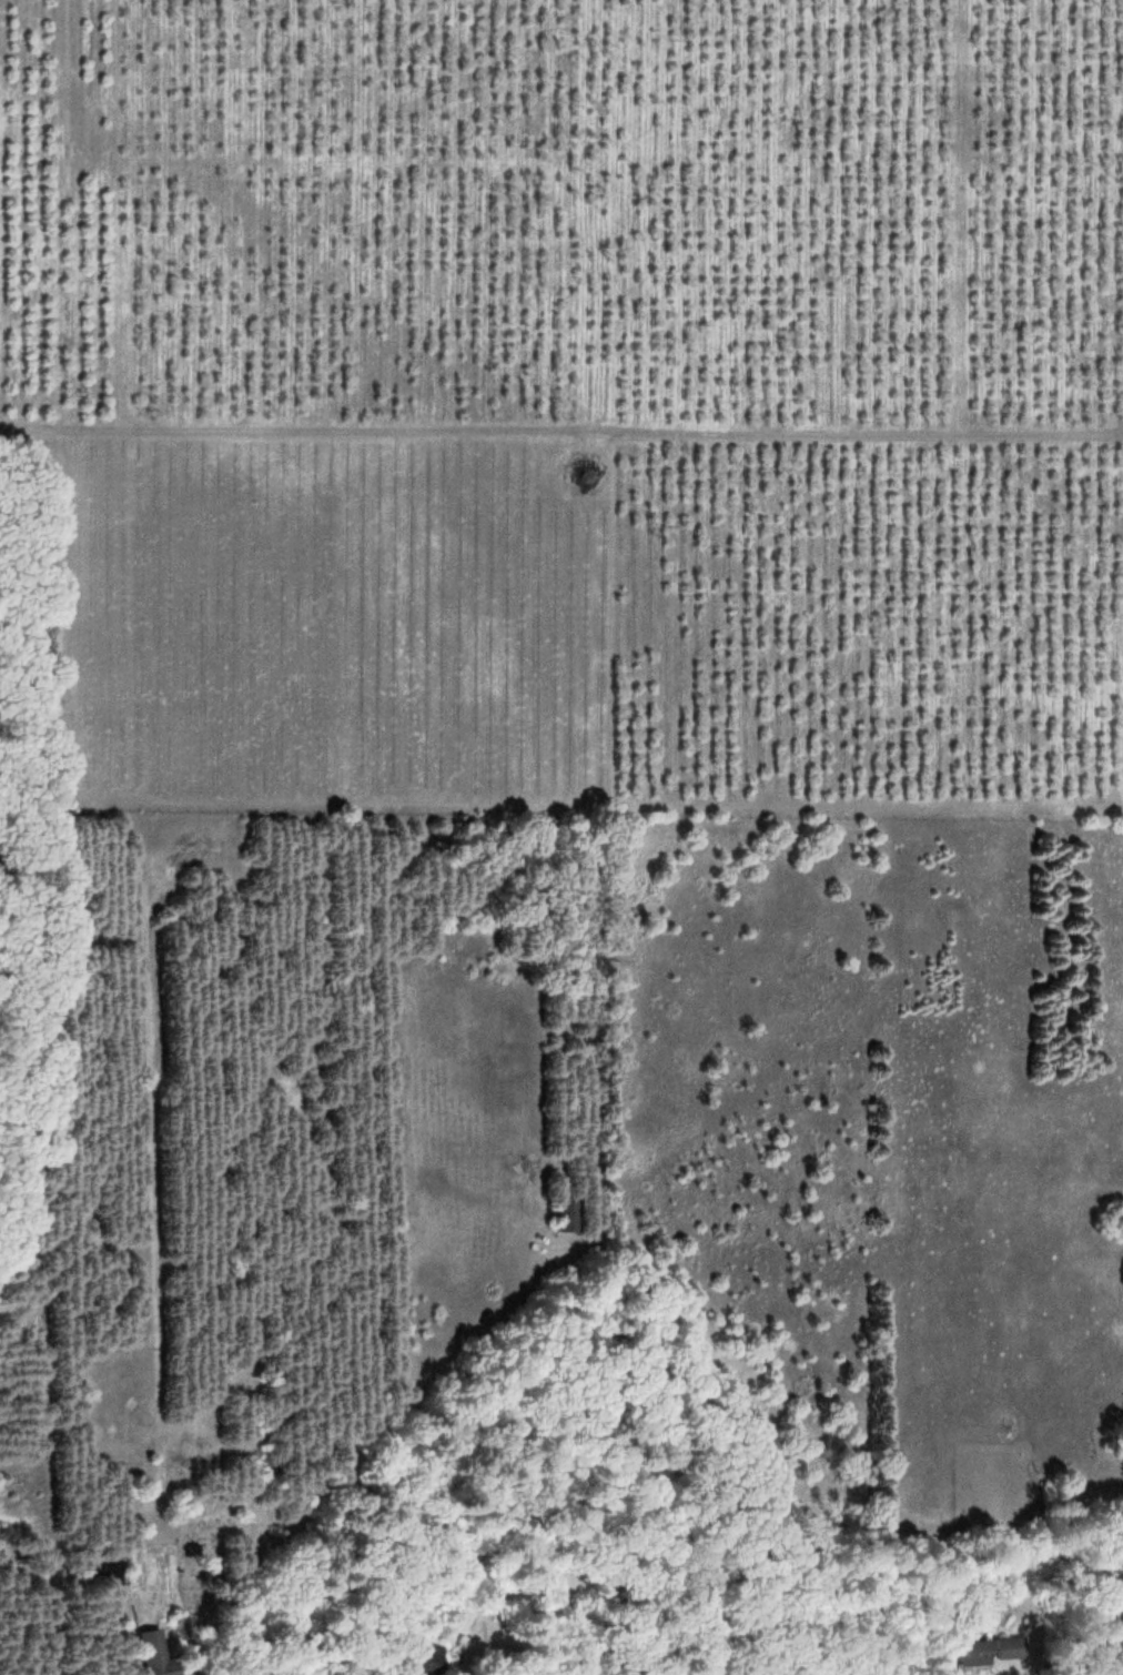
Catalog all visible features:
building: (565, 1211)
building: (1053, 1493)
building: (987, 1647)
building: (156, 1649)
building: (424, 1653)

